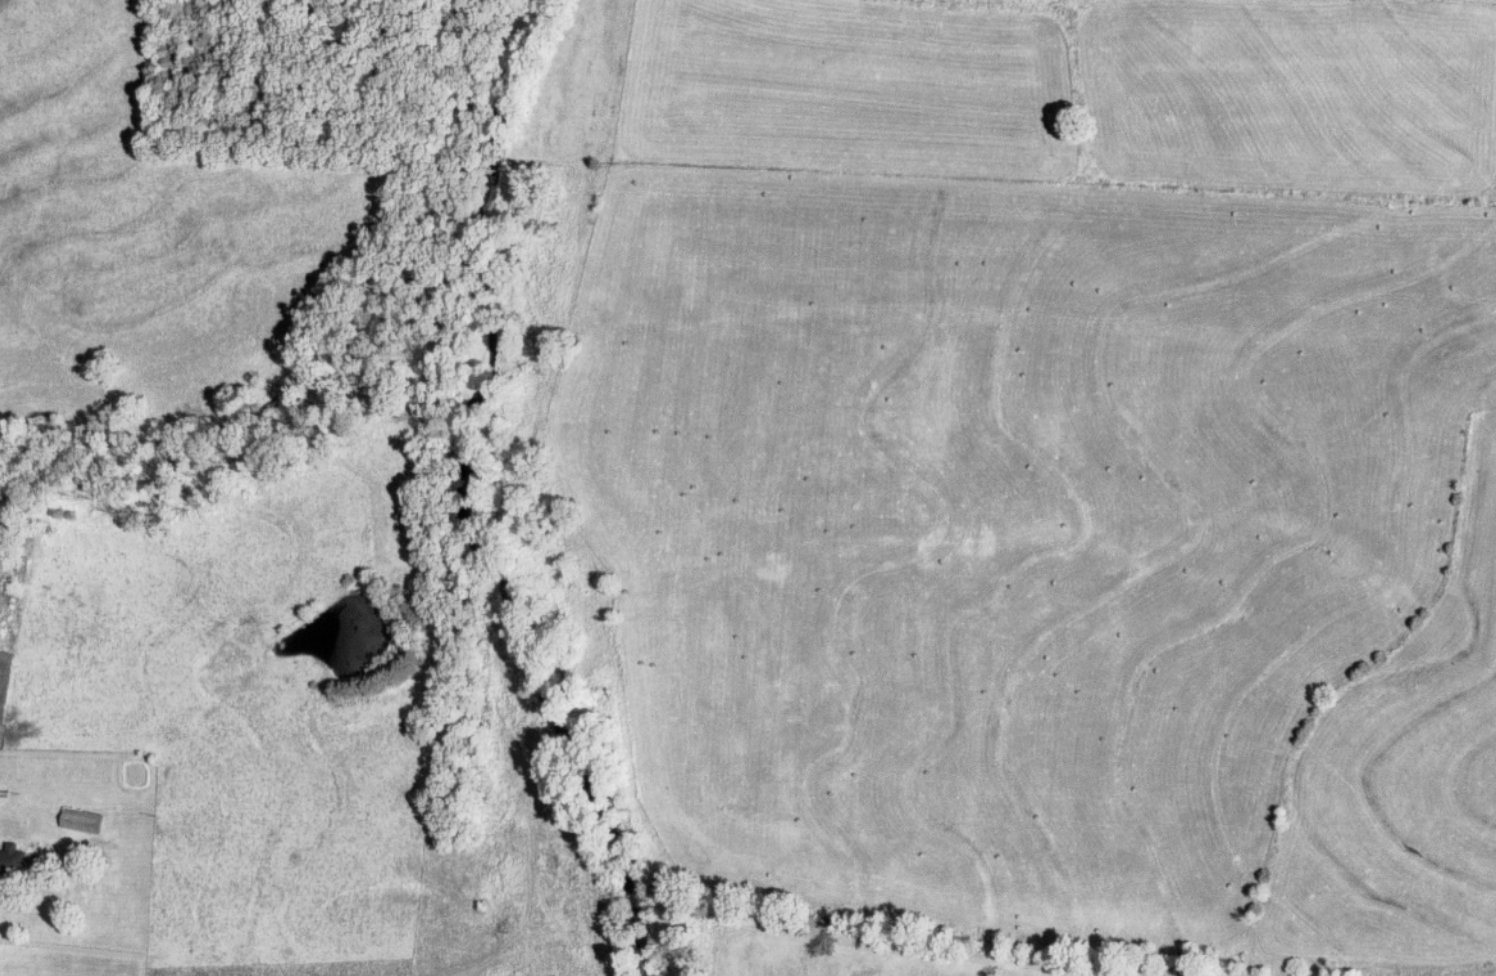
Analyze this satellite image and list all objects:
building: (10, 617)
building: (82, 822)
building: (13, 862)

